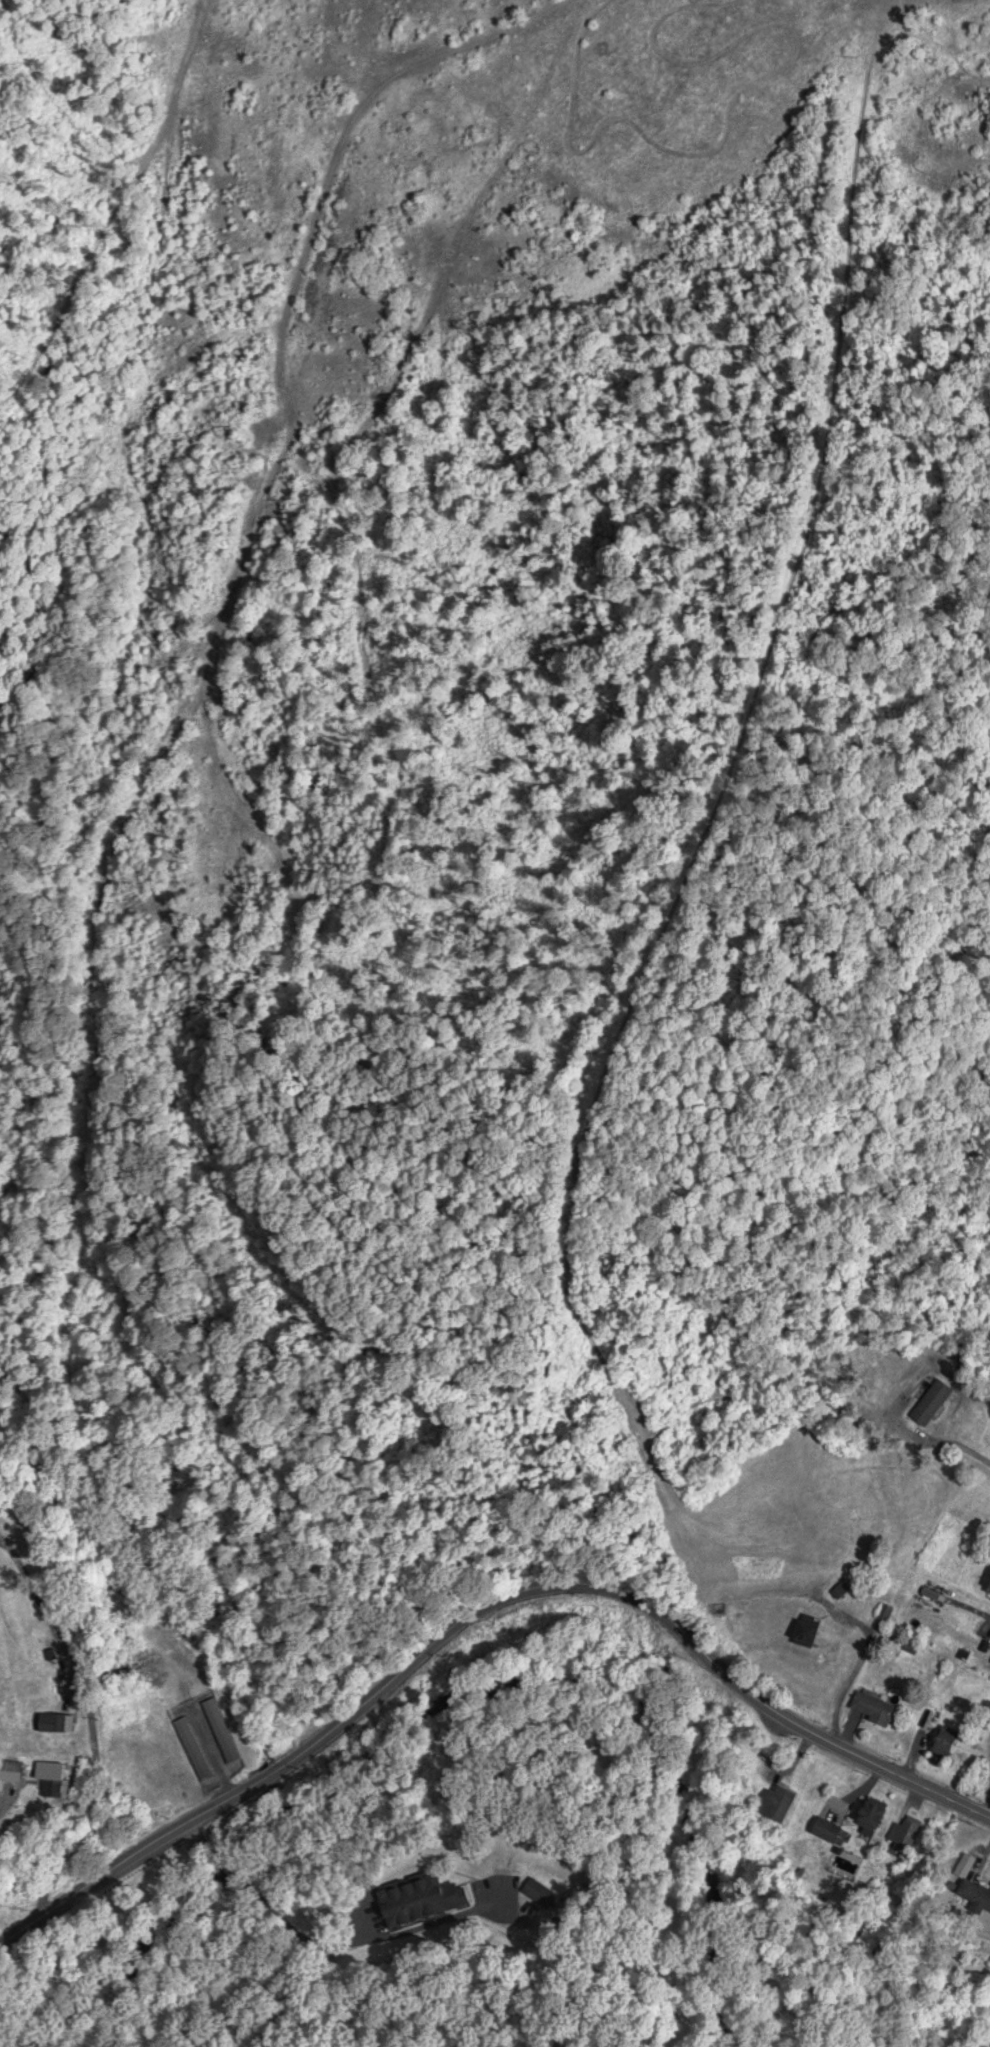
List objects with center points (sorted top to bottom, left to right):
building: (987, 1578)
building: (838, 1591)
road: (479, 1610)
building: (884, 1612)
building: (807, 1632)
road: (853, 1672)
building: (876, 1708)
building: (52, 1724)
road: (91, 1728)
building: (221, 1730)
building: (943, 1744)
building: (193, 1748)
building: (11, 1770)
building: (54, 1787)
road: (3, 1801)
building: (779, 1802)
road: (988, 1810)
building: (871, 1814)
building: (827, 1829)
building: (908, 1831)
building: (539, 1892)
building: (975, 1892)
building: (421, 1899)
road: (315, 1946)

